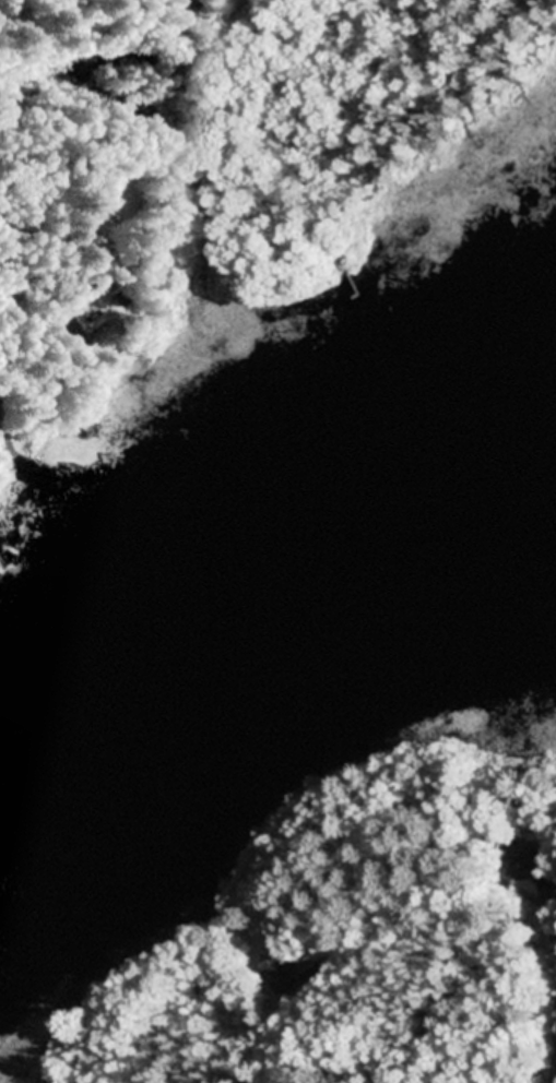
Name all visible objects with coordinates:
building: (71, 331)
park: (13, 437)
road: (9, 444)
building: (530, 859)
building: (280, 976)

